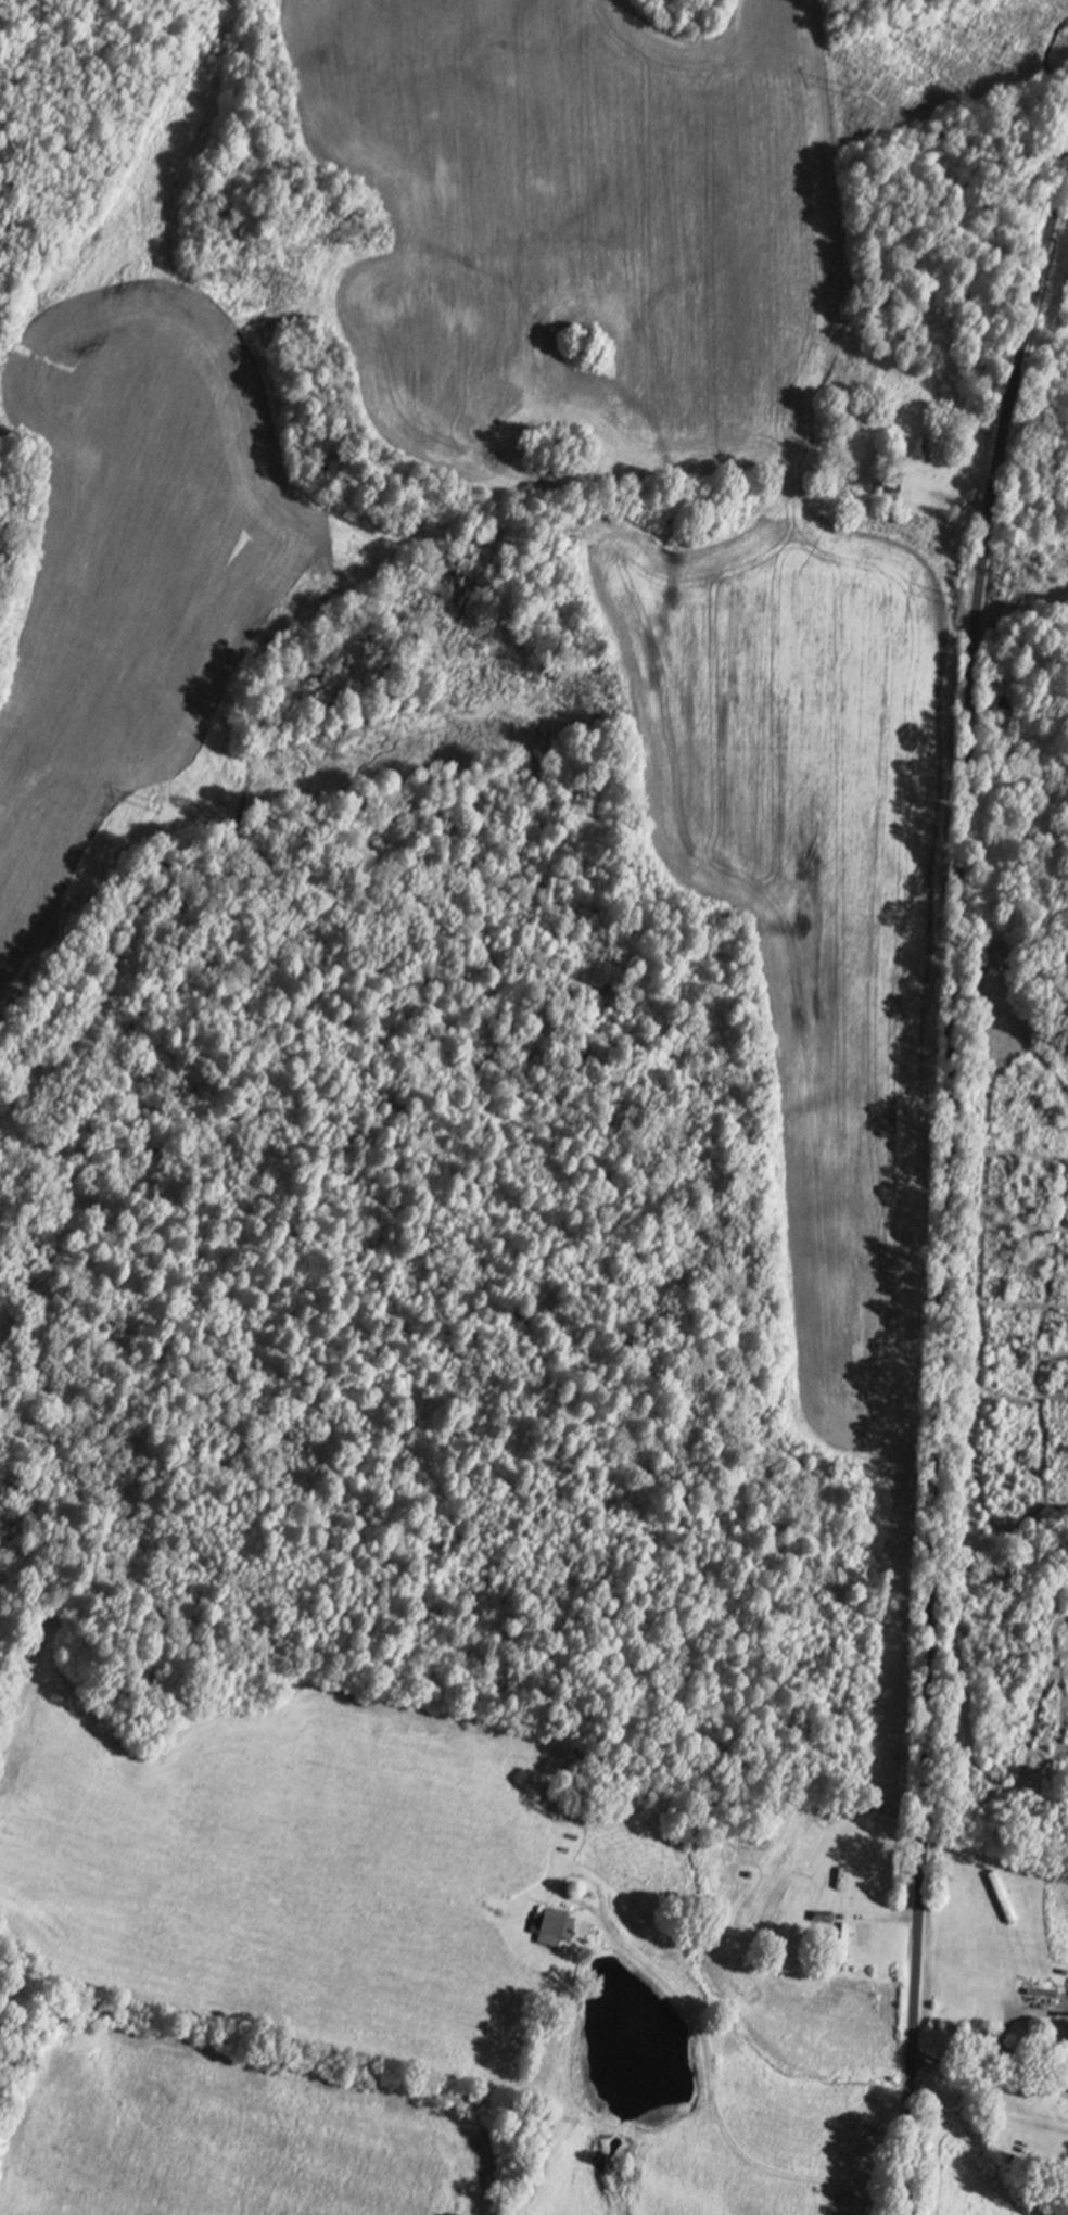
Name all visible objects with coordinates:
building: (912, 453)
road: (946, 1182)
building: (839, 1880)
building: (819, 1919)
building: (549, 1931)
building: (841, 1945)
building: (1065, 2074)

